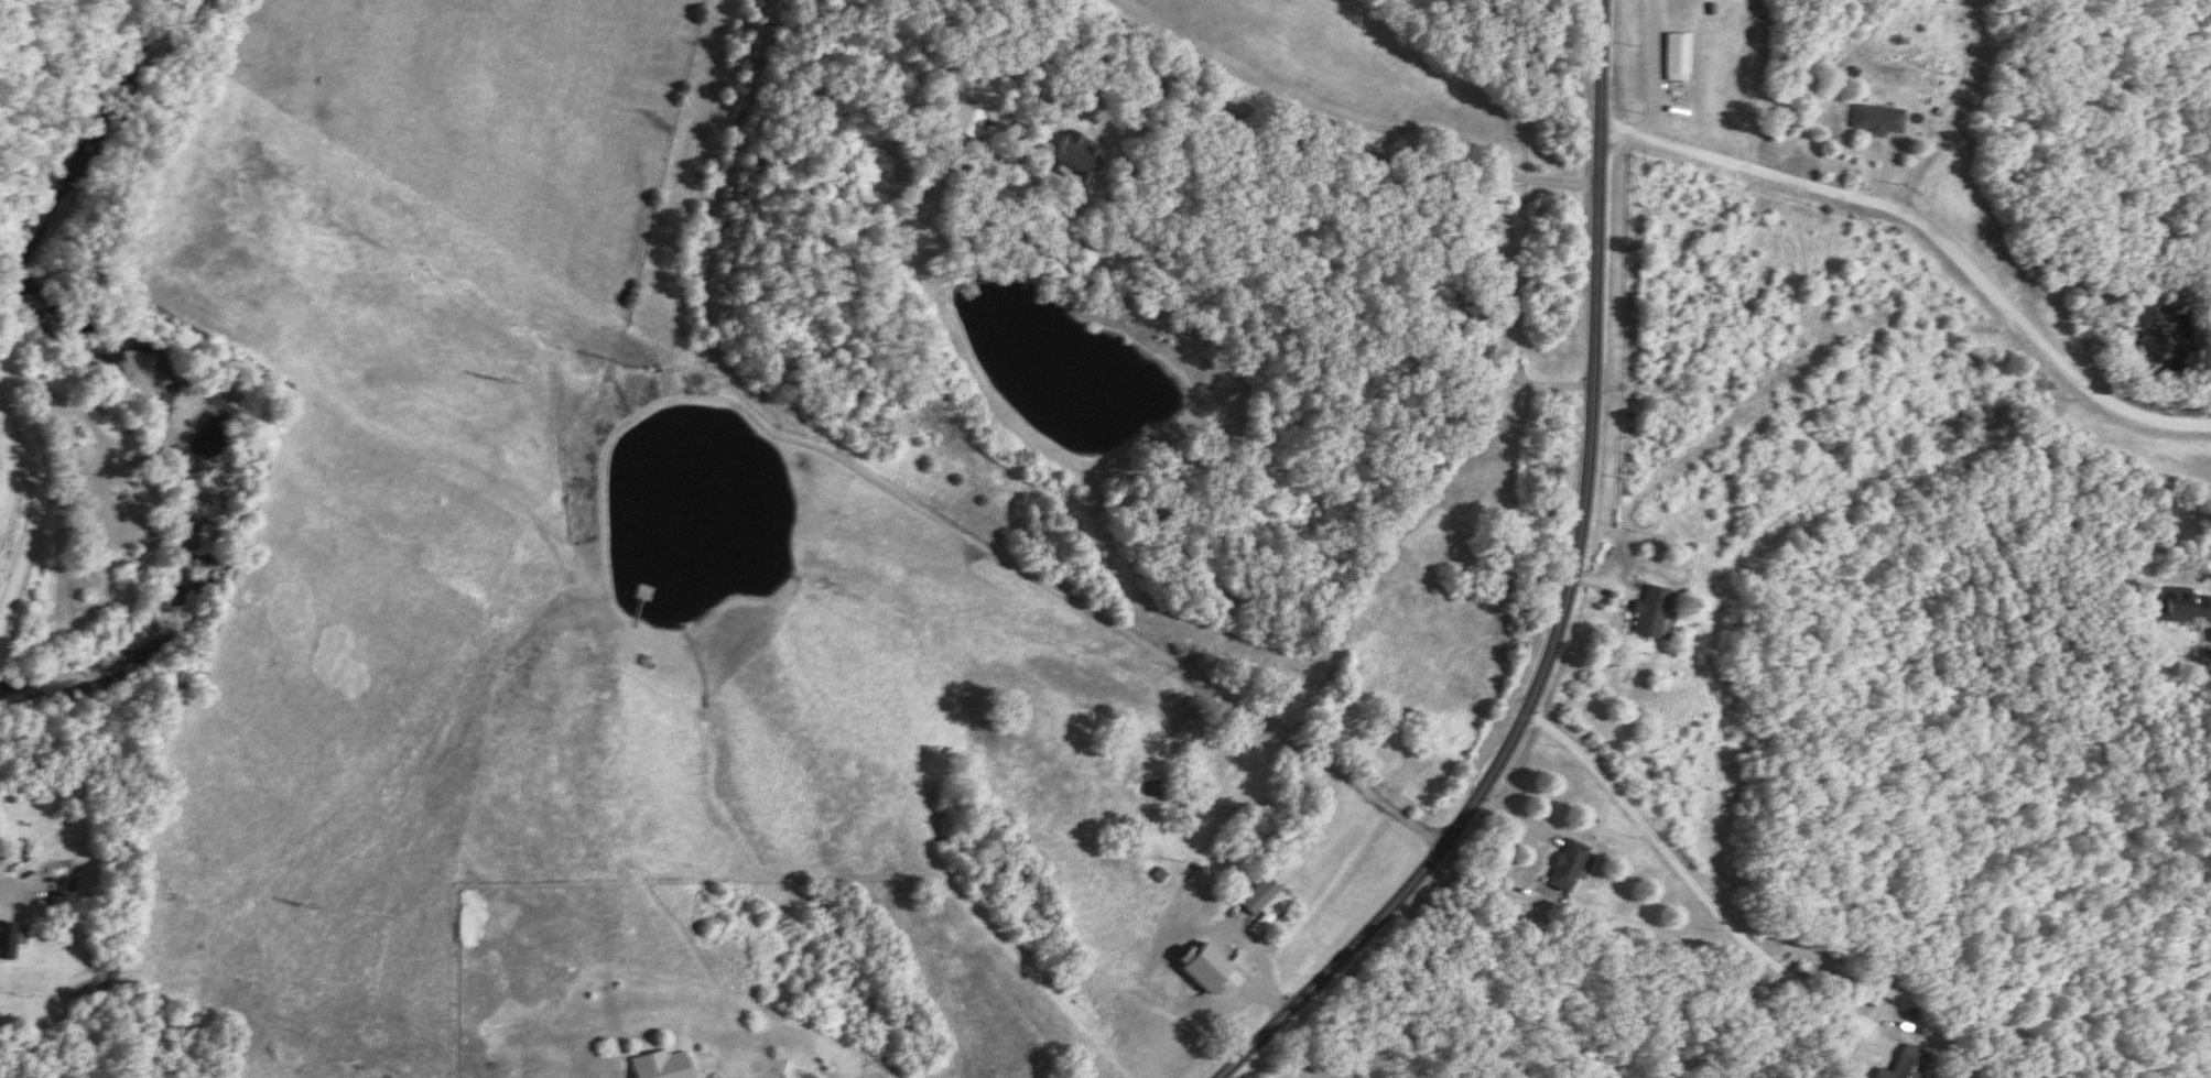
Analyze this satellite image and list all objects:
building: (1678, 58)
road: (1901, 97)
road: (1345, 117)
building: (1879, 119)
building: (966, 121)
building: (1077, 157)
road: (1406, 164)
road: (1928, 232)
power tower: (505, 385)
road: (31, 491)
road: (1564, 599)
building: (2181, 605)
building: (1649, 612)
building: (1568, 865)
road: (1687, 878)
building: (1265, 903)
power tower: (314, 908)
building: (9, 941)
building: (1889, 991)
building: (1905, 1065)
building: (663, 1067)

